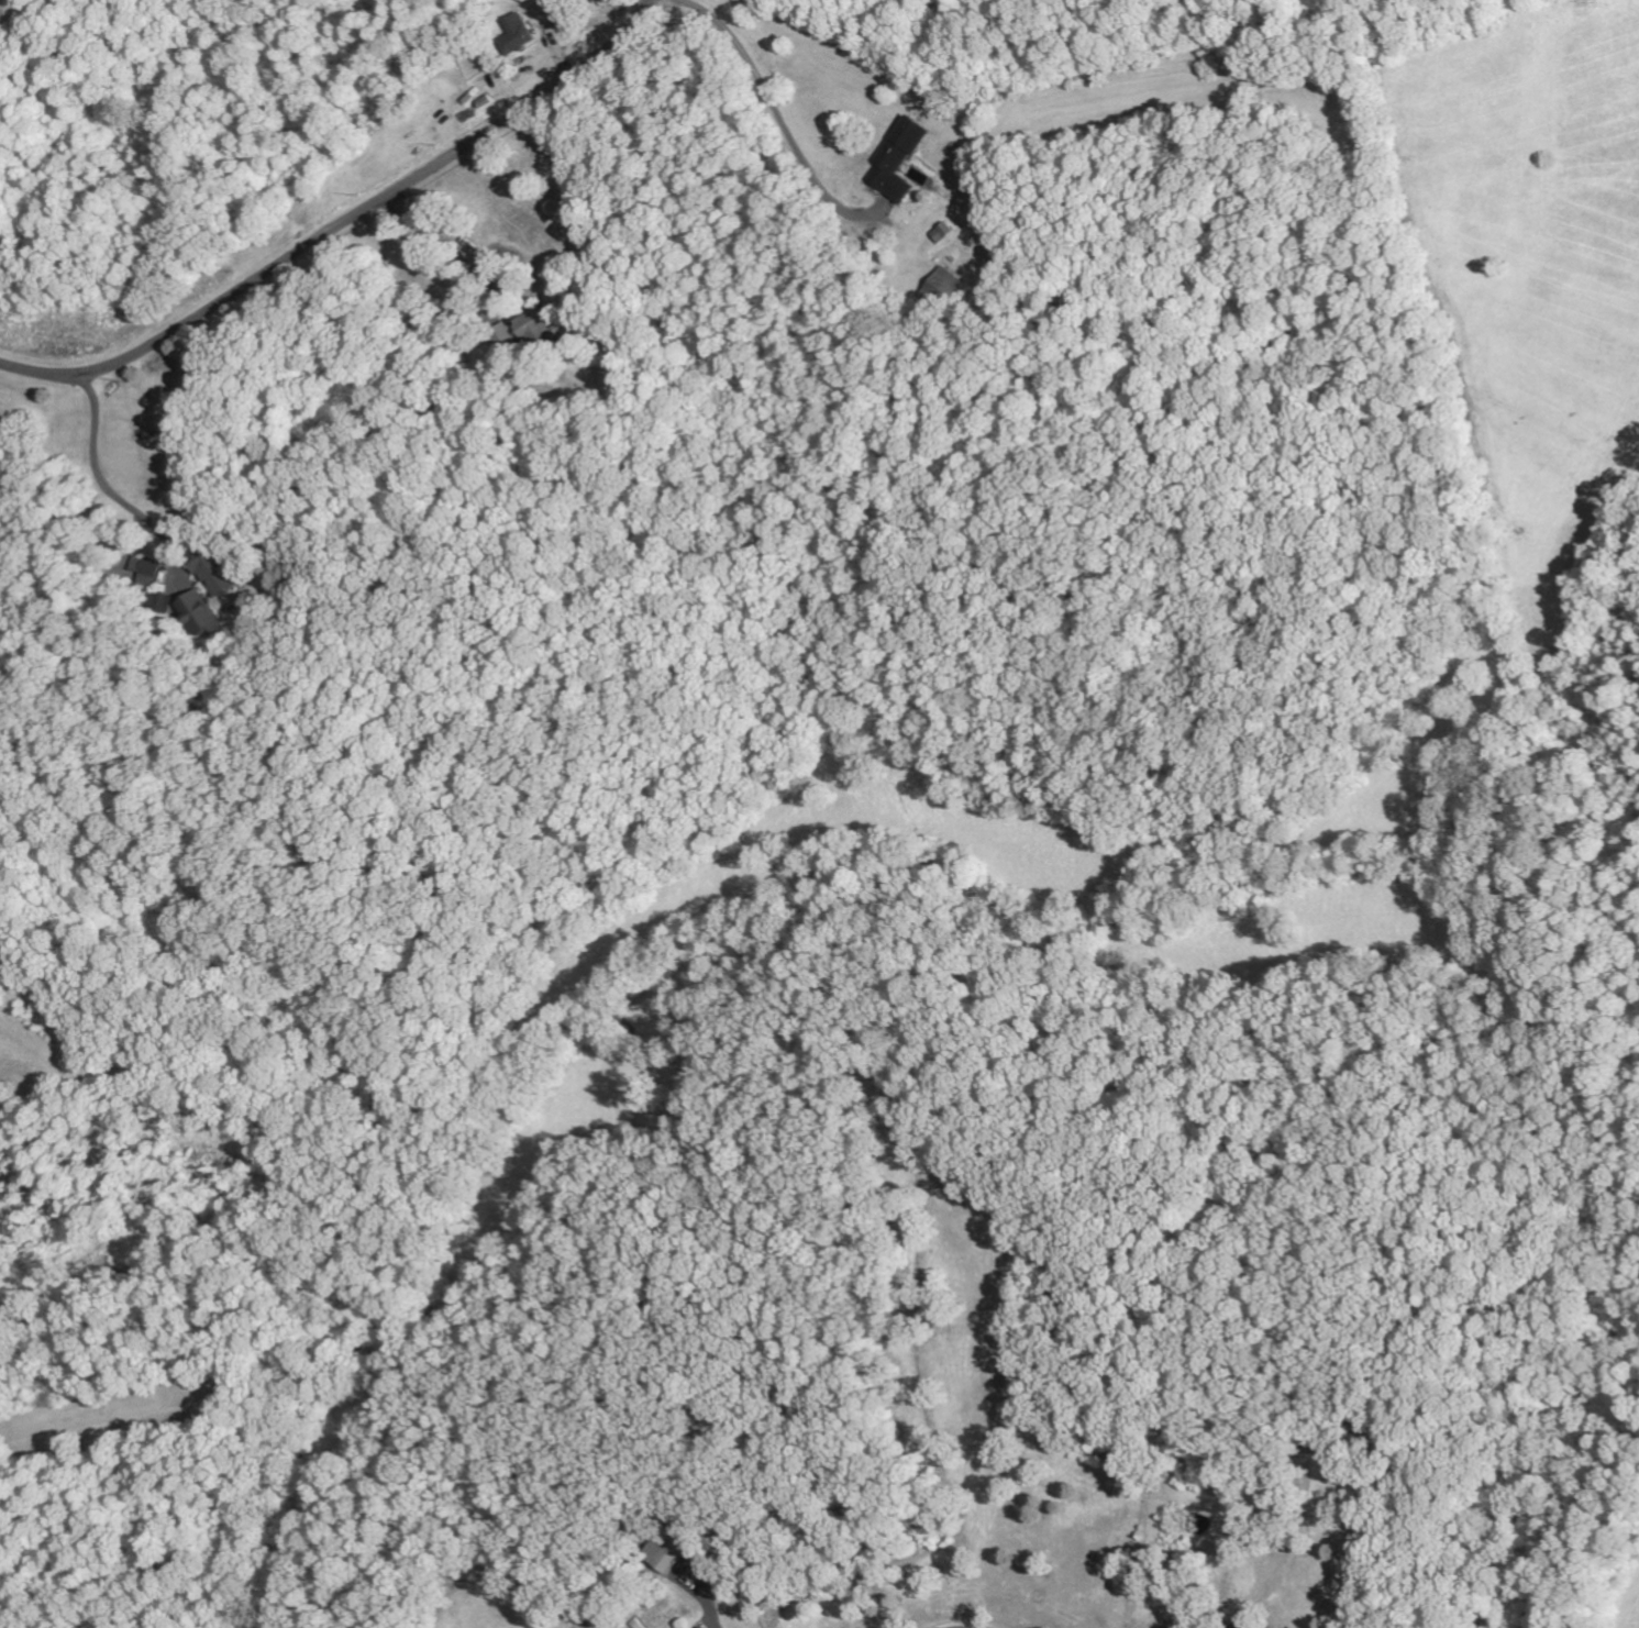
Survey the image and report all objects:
building: (517, 35)
building: (899, 159)
road: (347, 228)
building: (945, 232)
building: (951, 290)
building: (215, 571)
building: (169, 603)
building: (204, 614)
building: (671, 1552)

